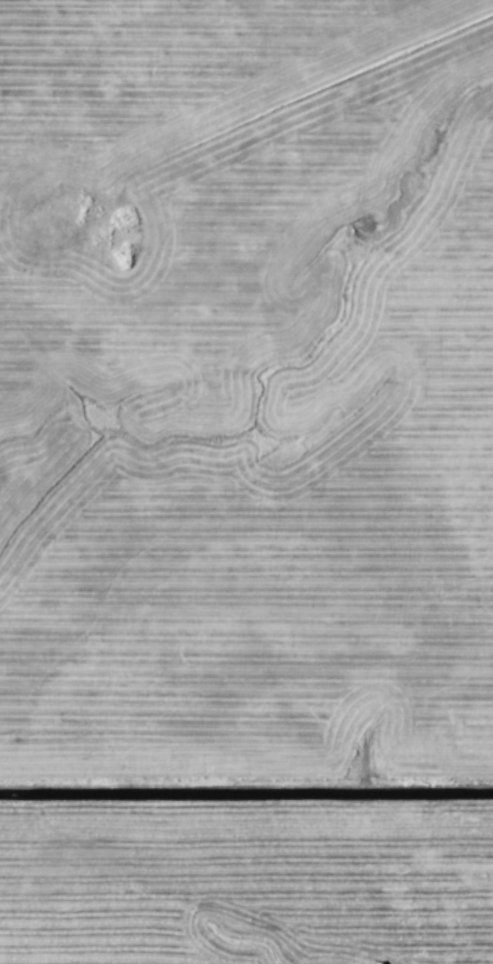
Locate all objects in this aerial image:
road: (246, 793)

